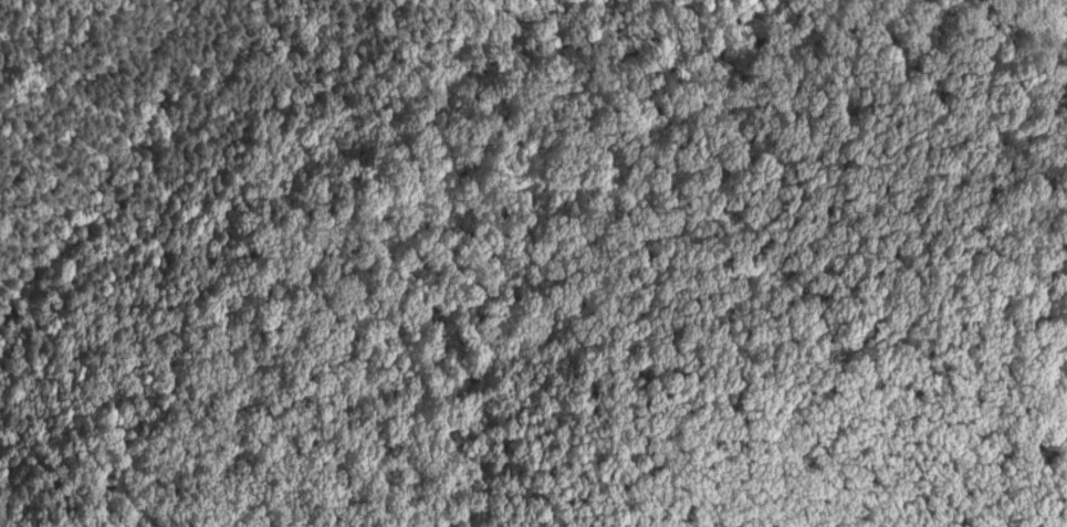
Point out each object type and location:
road: (639, 506)

